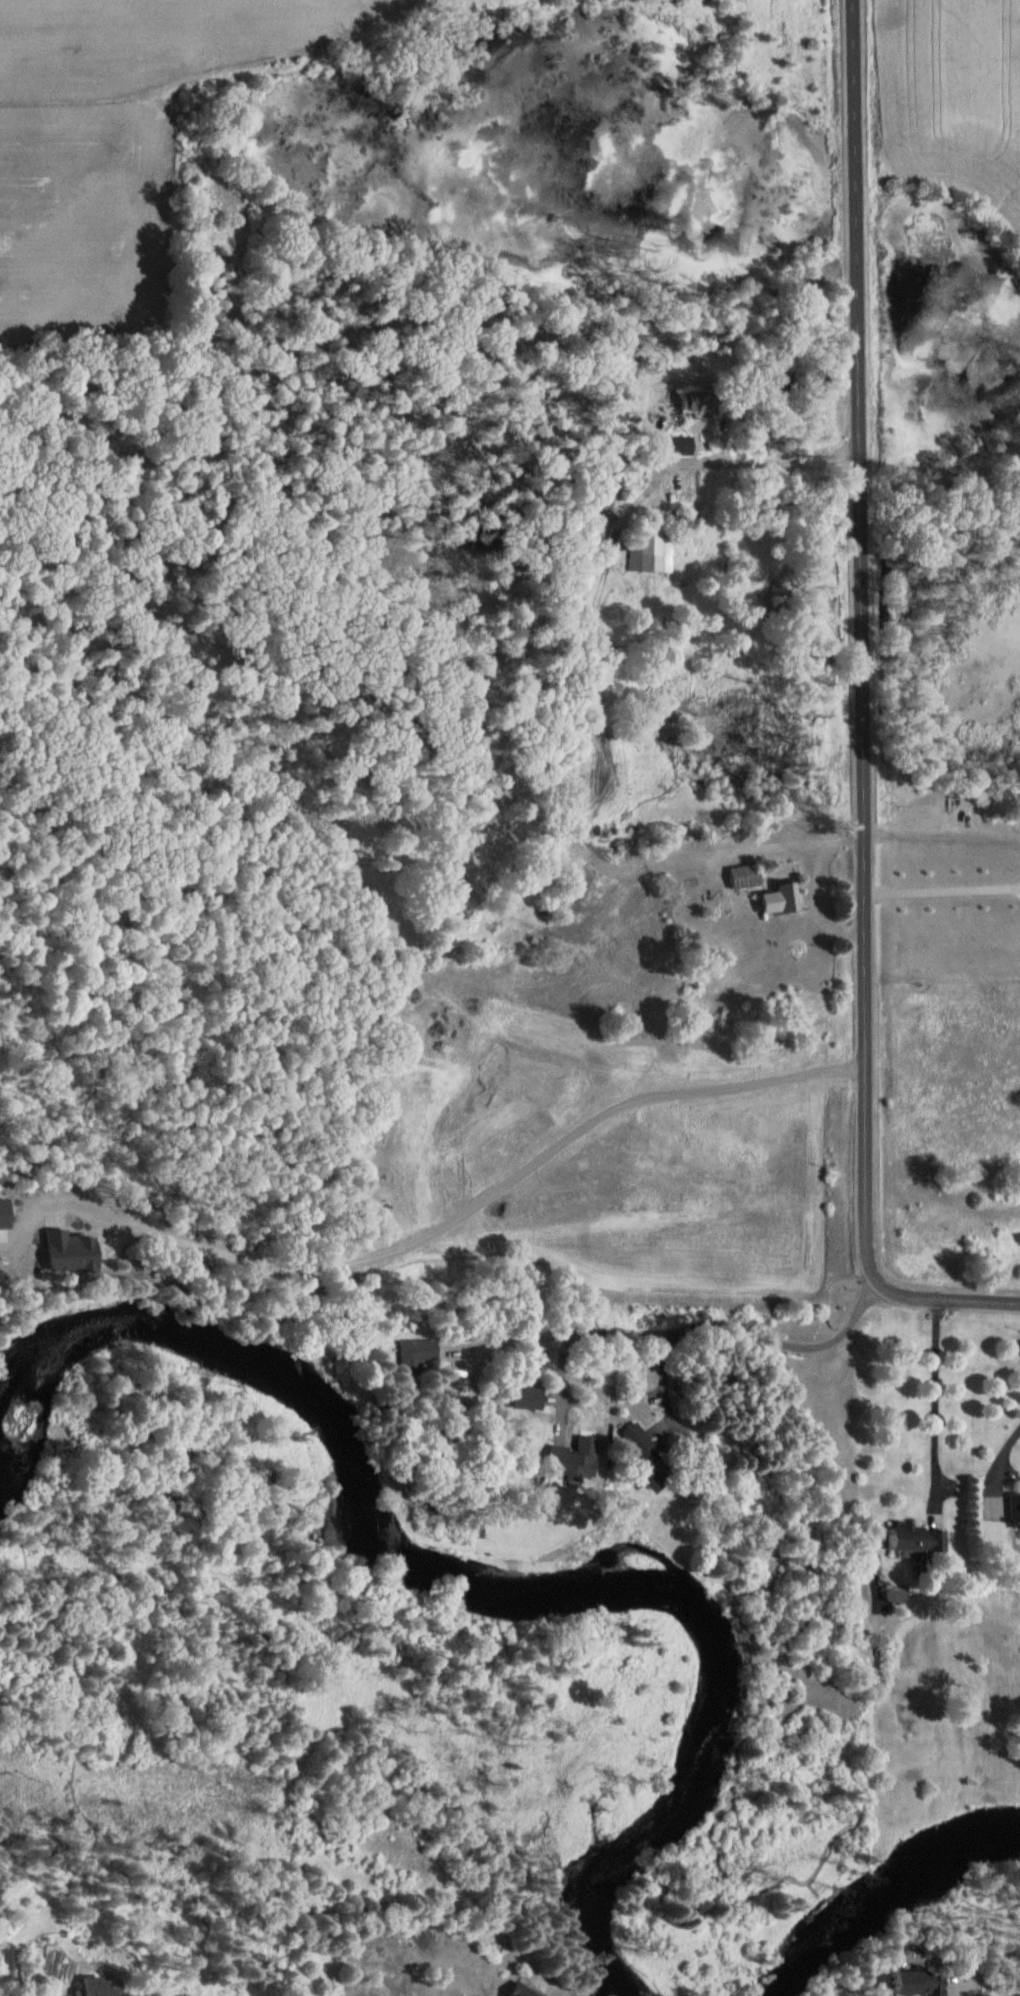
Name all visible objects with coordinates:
building: (688, 401)
building: (676, 446)
road: (763, 456)
building: (648, 549)
road: (862, 715)
building: (739, 875)
building: (775, 898)
road: (728, 1326)
road: (586, 1330)
road: (936, 1401)
building: (638, 1451)
road: (1007, 1452)
building: (563, 1464)
building: (1011, 1511)
building: (903, 1538)
river: (502, 1588)
river: (881, 1895)
building: (900, 1983)
building: (85, 1986)
building: (507, 1991)

